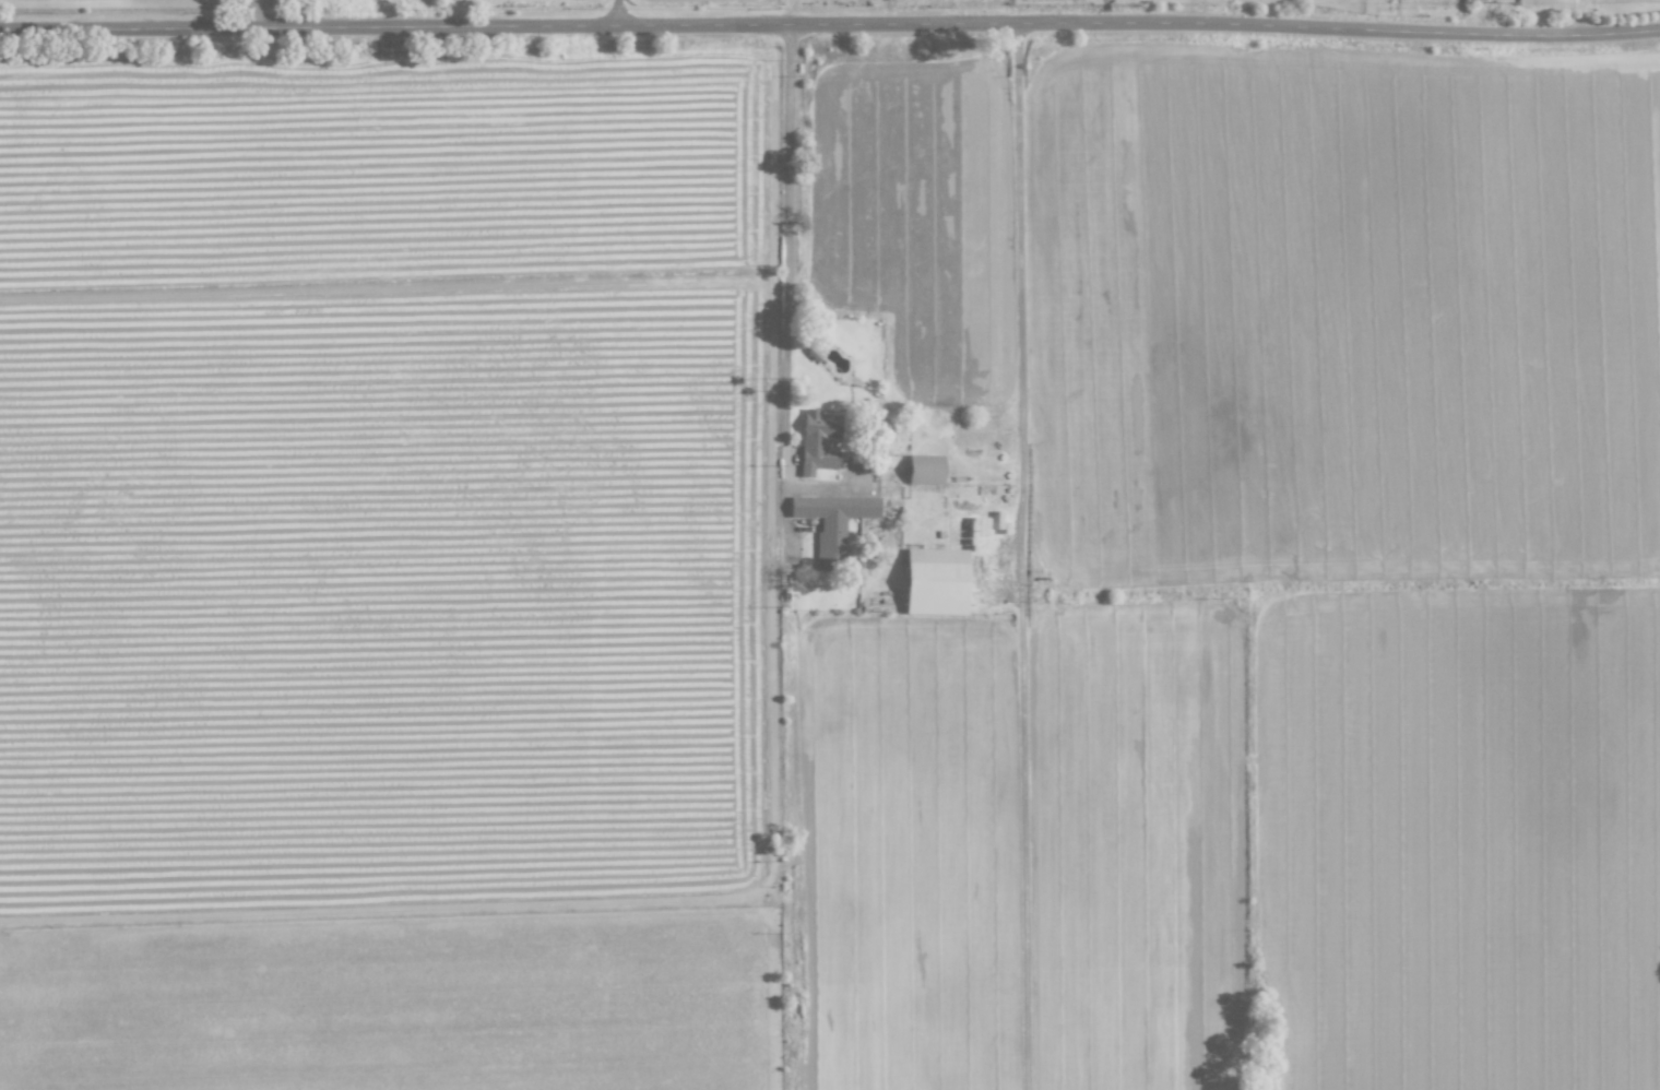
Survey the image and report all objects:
building: (1489, 0)
building: (1532, 2)
road: (615, 12)
road: (252, 13)
road: (830, 23)
road: (786, 236)
road: (1019, 301)
building: (818, 440)
building: (925, 469)
building: (832, 522)
building: (935, 581)

